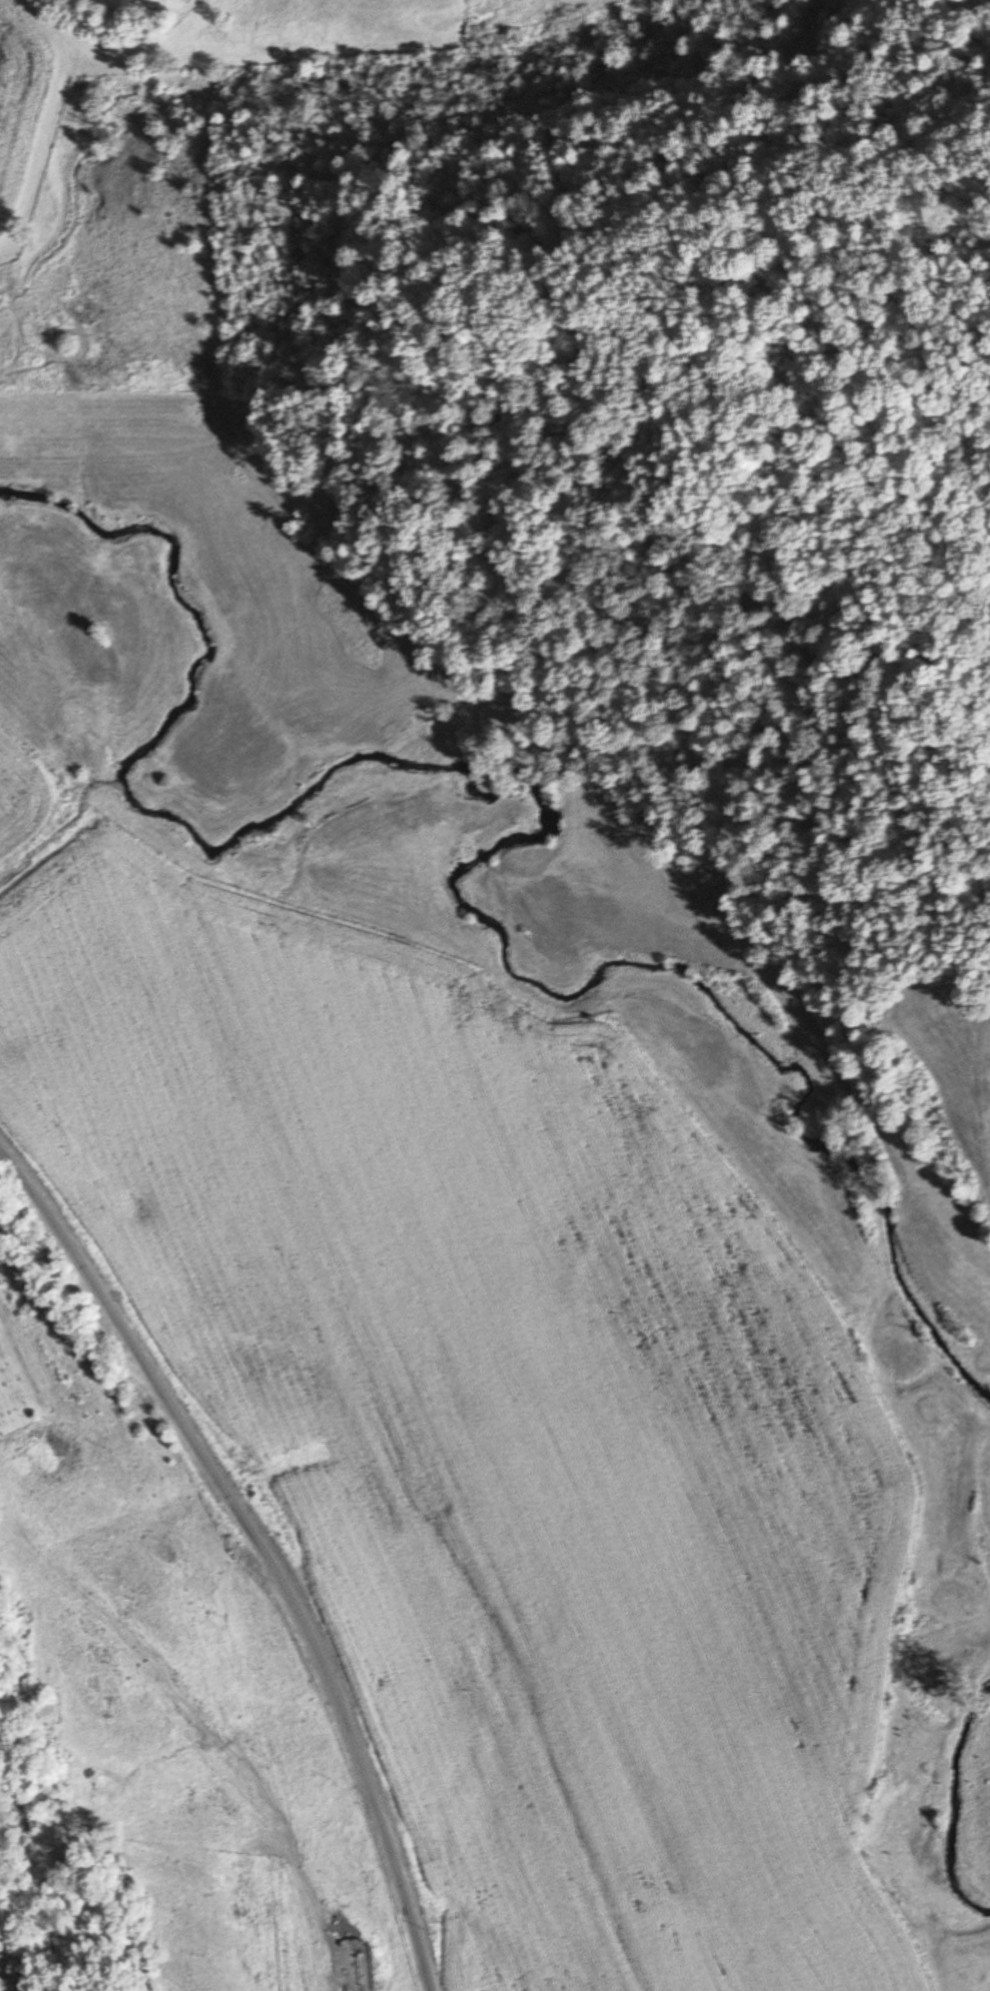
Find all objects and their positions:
park: (18, 1378)
road: (260, 1546)

